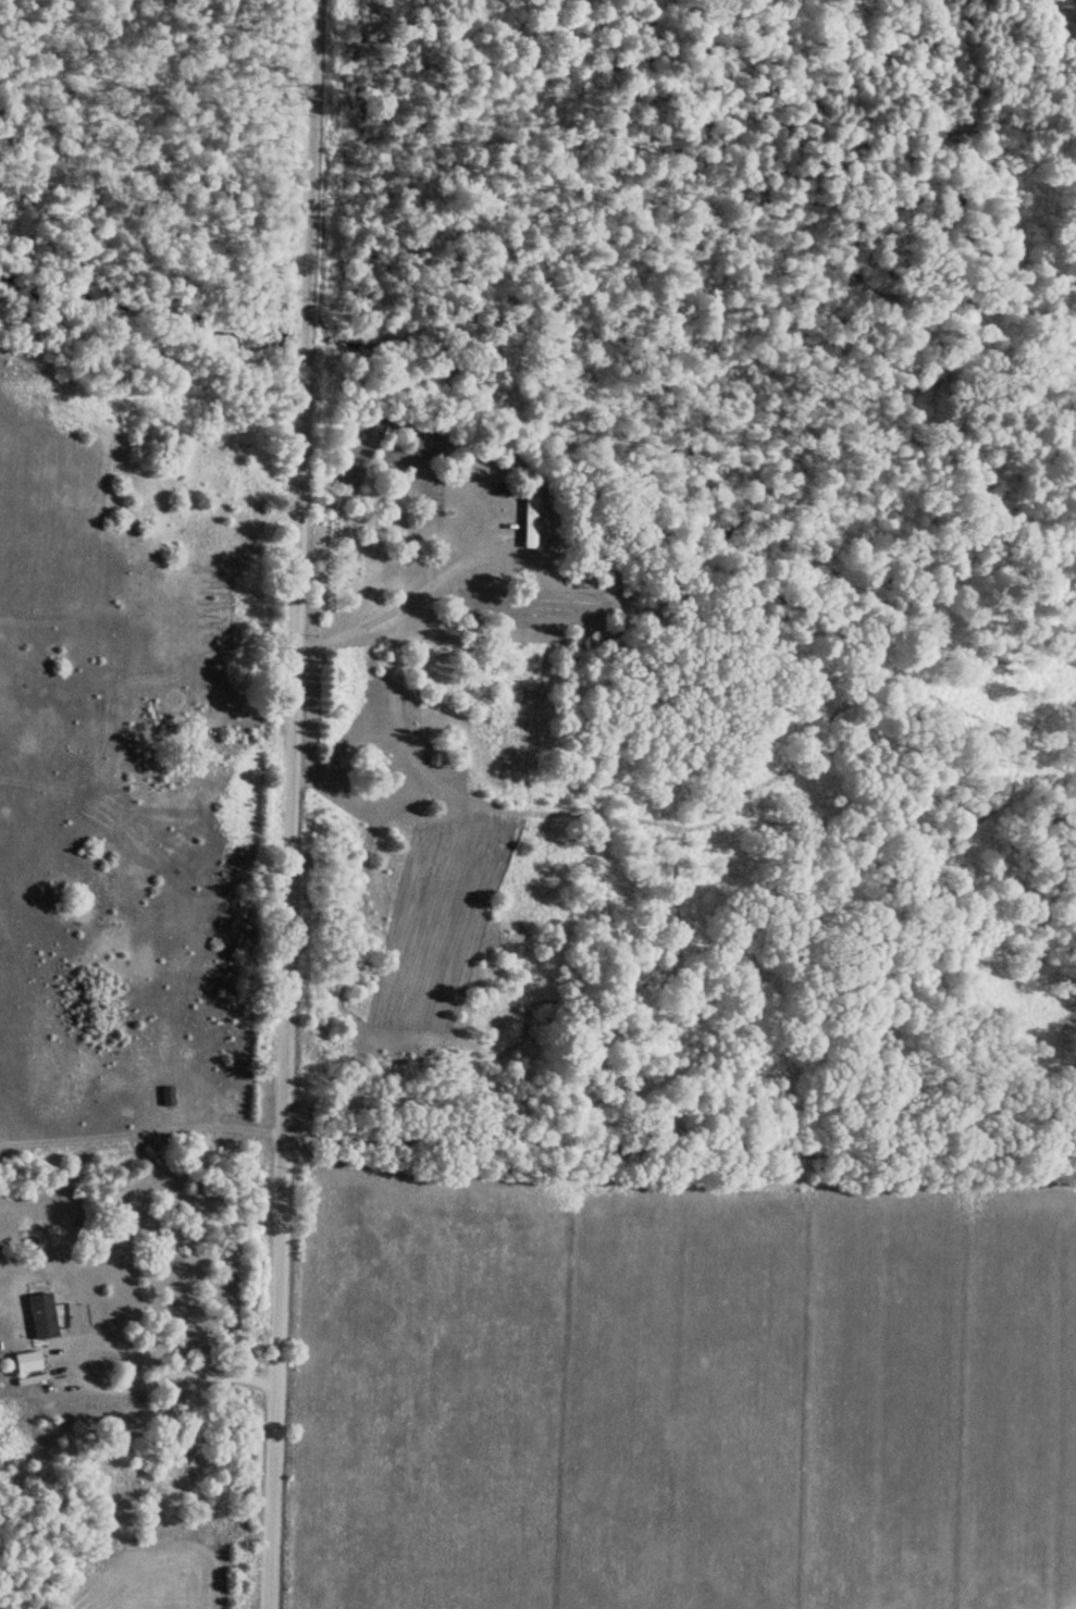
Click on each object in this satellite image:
building: (525, 522)
road: (281, 804)
road: (673, 1118)
building: (39, 1315)
crop: (687, 1395)
crop: (158, 1581)

